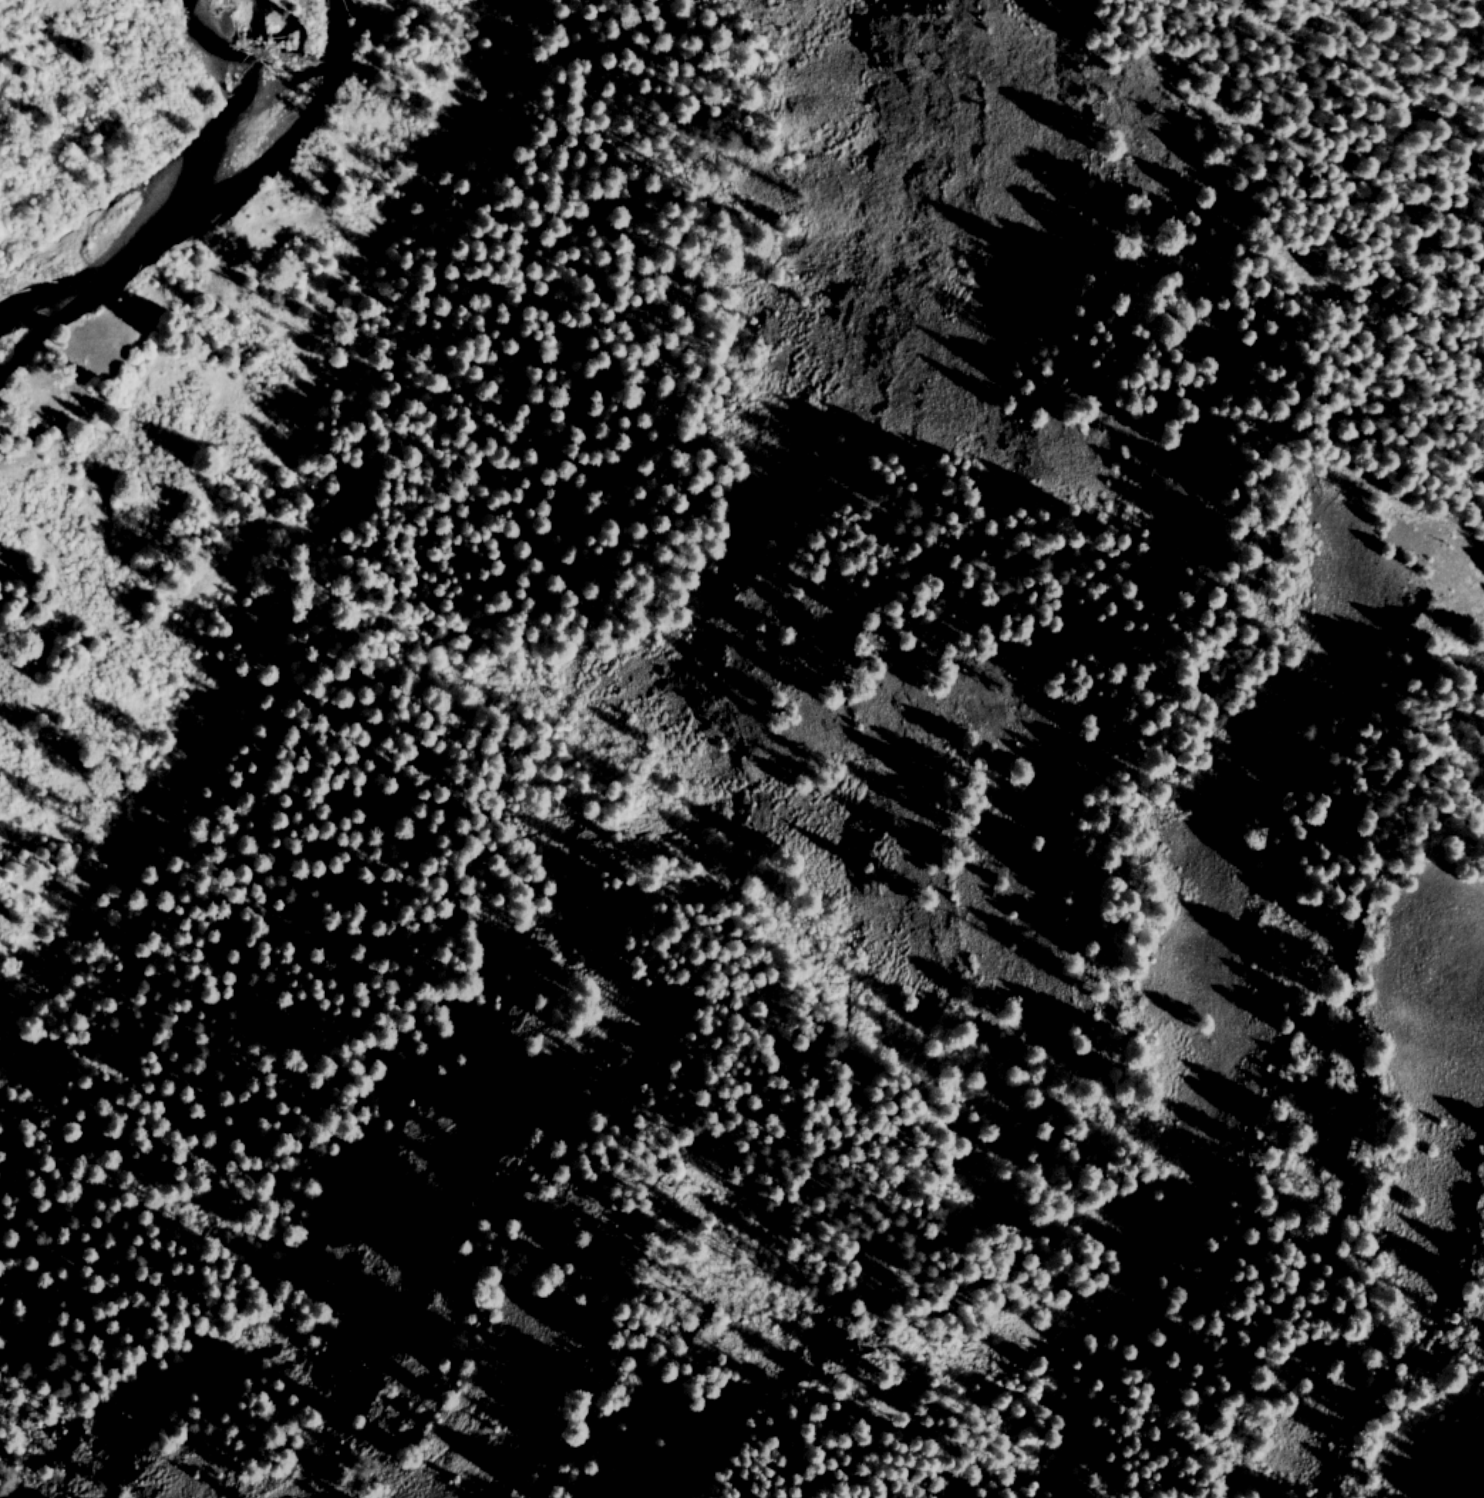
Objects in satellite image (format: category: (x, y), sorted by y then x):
river: (208, 246)

